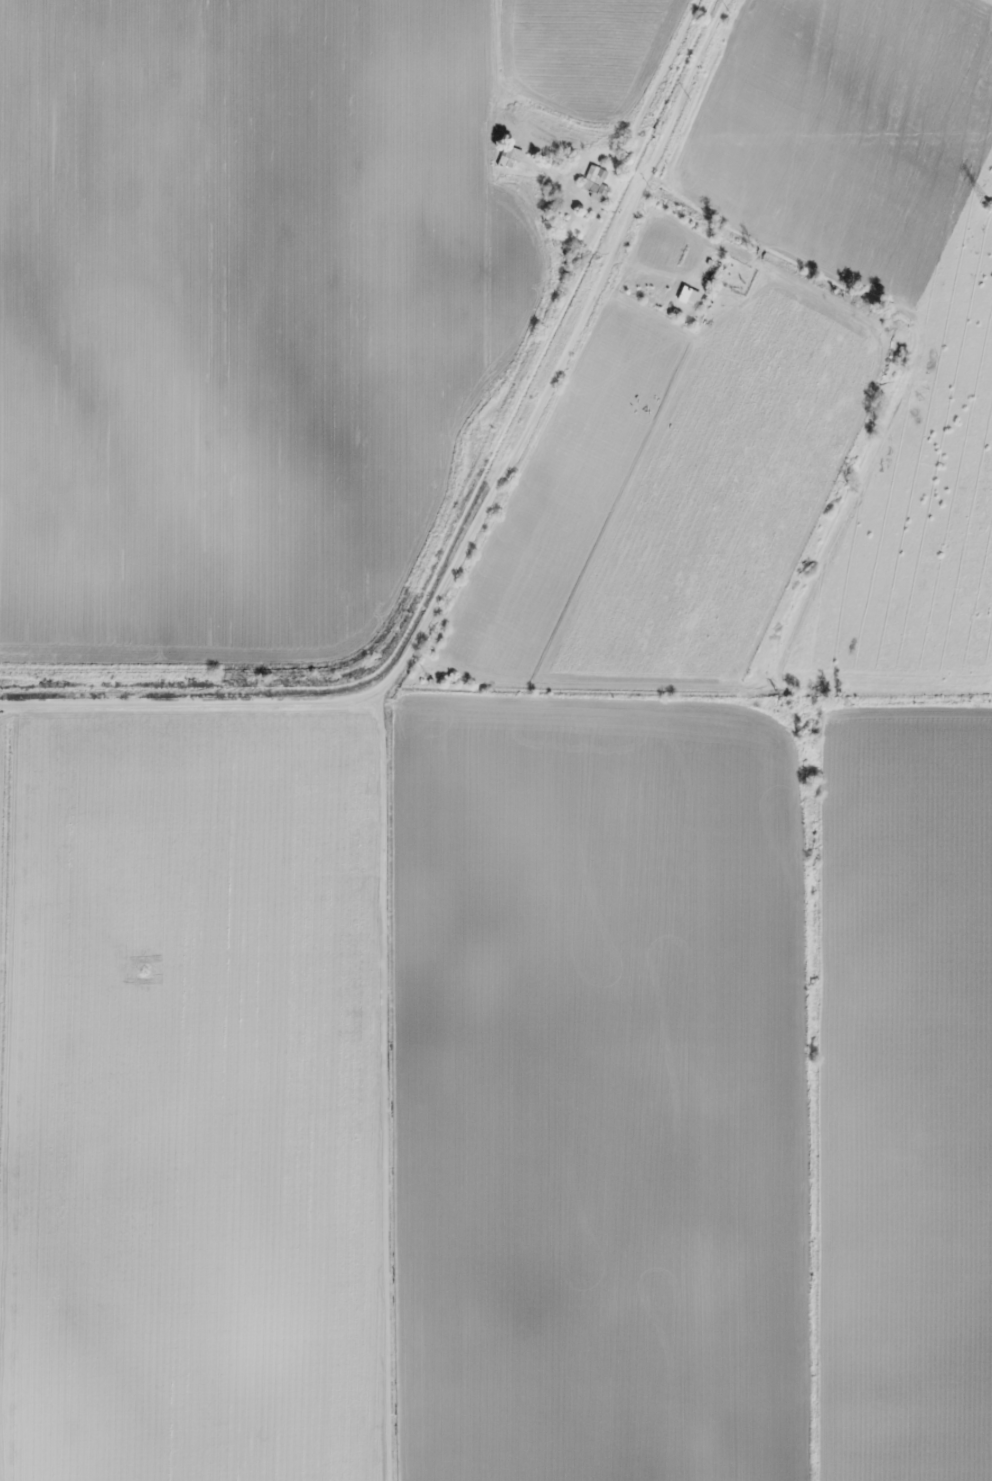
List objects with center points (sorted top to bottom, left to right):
power tower: (989, 206)

